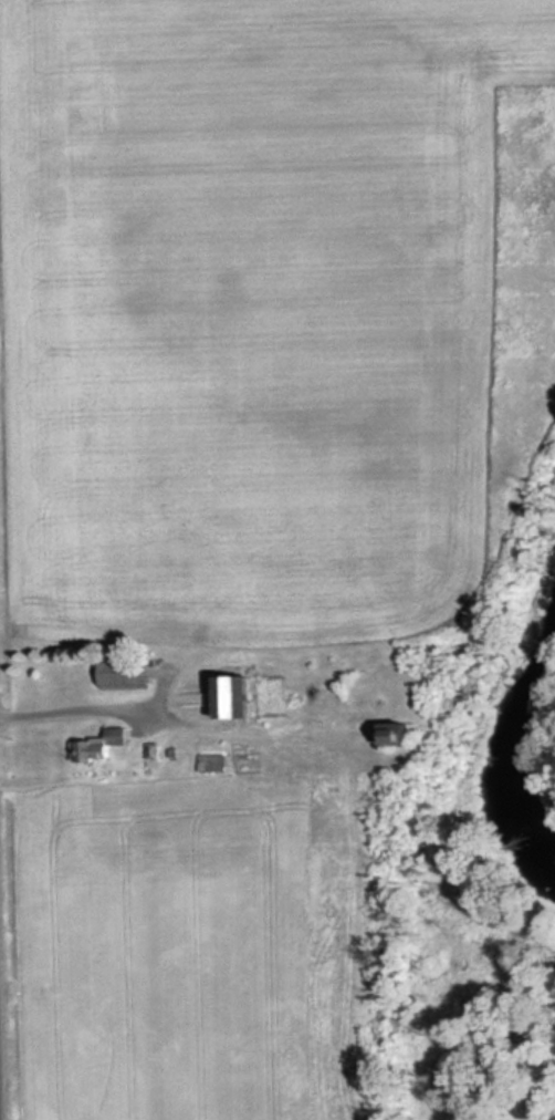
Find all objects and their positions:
building: (116, 676)
building: (227, 697)
building: (386, 735)
building: (95, 746)
building: (208, 764)
river: (514, 767)
road: (1, 1067)

